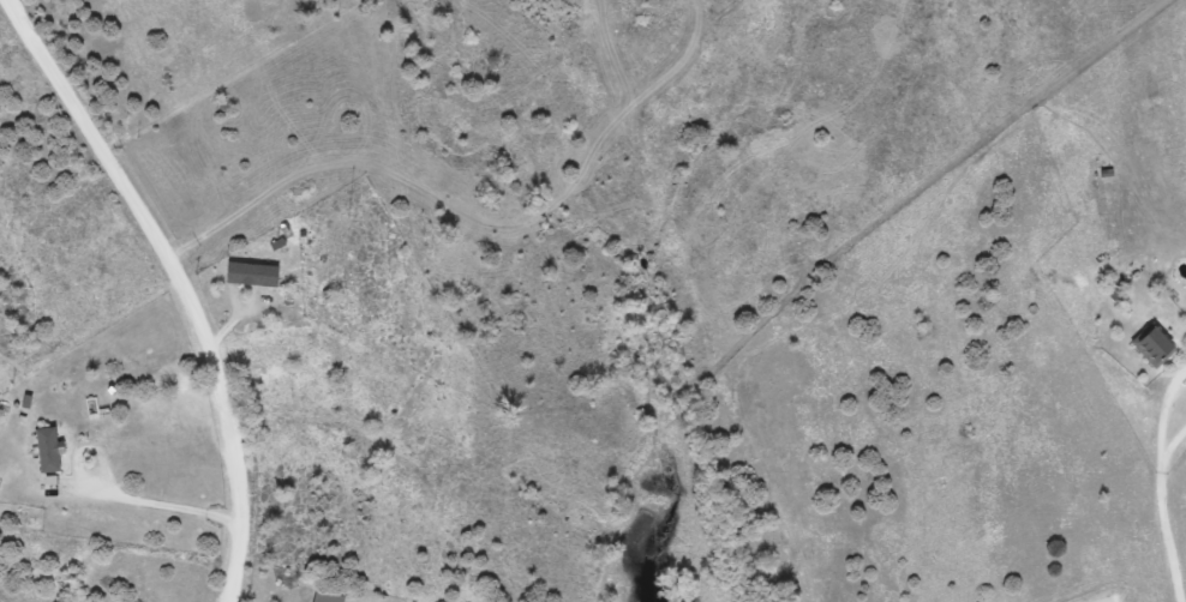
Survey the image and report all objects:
building: (254, 276)
road: (179, 283)
building: (1154, 345)
road: (1156, 398)
road: (1166, 428)
building: (48, 449)
road: (160, 504)
road: (1163, 528)
building: (329, 596)

